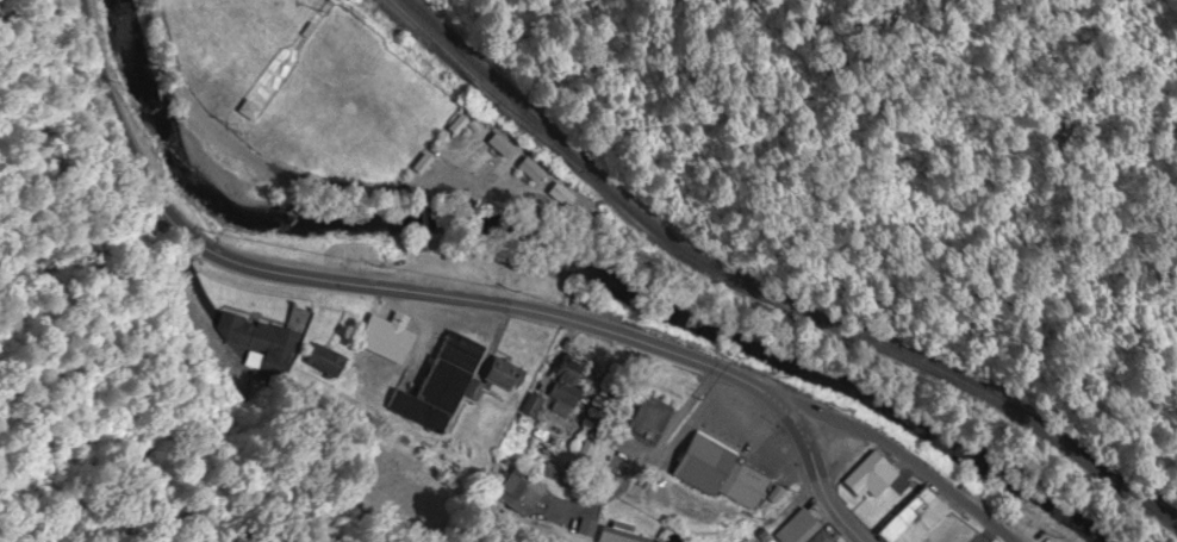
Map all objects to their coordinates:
park: (232, 45)
park: (350, 106)
building: (494, 143)
building: (525, 172)
building: (558, 198)
road: (425, 228)
river: (571, 267)
road: (354, 284)
railway: (766, 293)
building: (257, 330)
building: (386, 337)
building: (325, 361)
building: (569, 368)
building: (499, 374)
building: (440, 384)
building: (563, 394)
building: (531, 406)
building: (649, 419)
road: (649, 457)
road: (899, 457)
building: (703, 462)
building: (865, 472)
road: (815, 473)
building: (884, 480)
building: (742, 485)
building: (517, 488)
building: (712, 518)
building: (910, 518)
building: (586, 528)
building: (796, 528)
building: (619, 532)
building: (821, 536)

